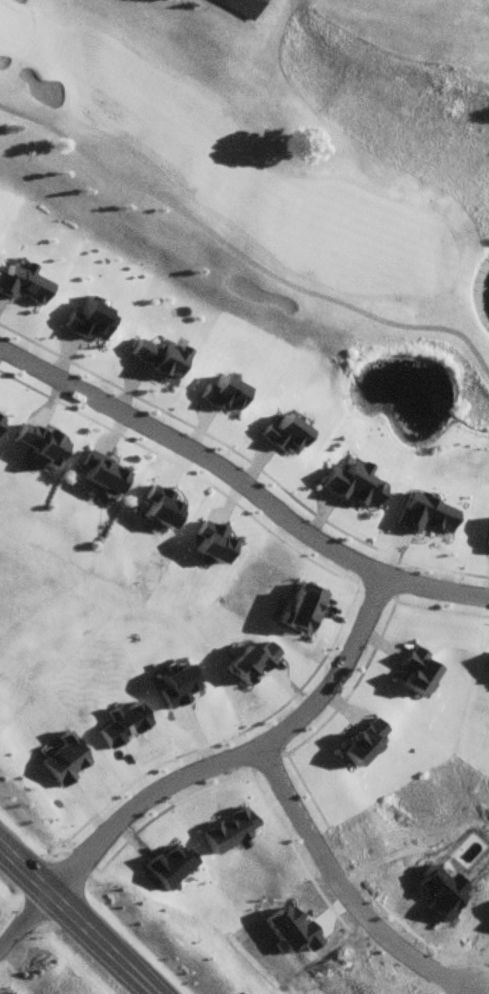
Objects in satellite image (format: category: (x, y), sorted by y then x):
building: (235, 8)
park: (284, 177)
road: (239, 256)
road: (383, 588)
road: (437, 590)
road: (349, 889)
road: (80, 916)
road: (28, 924)

